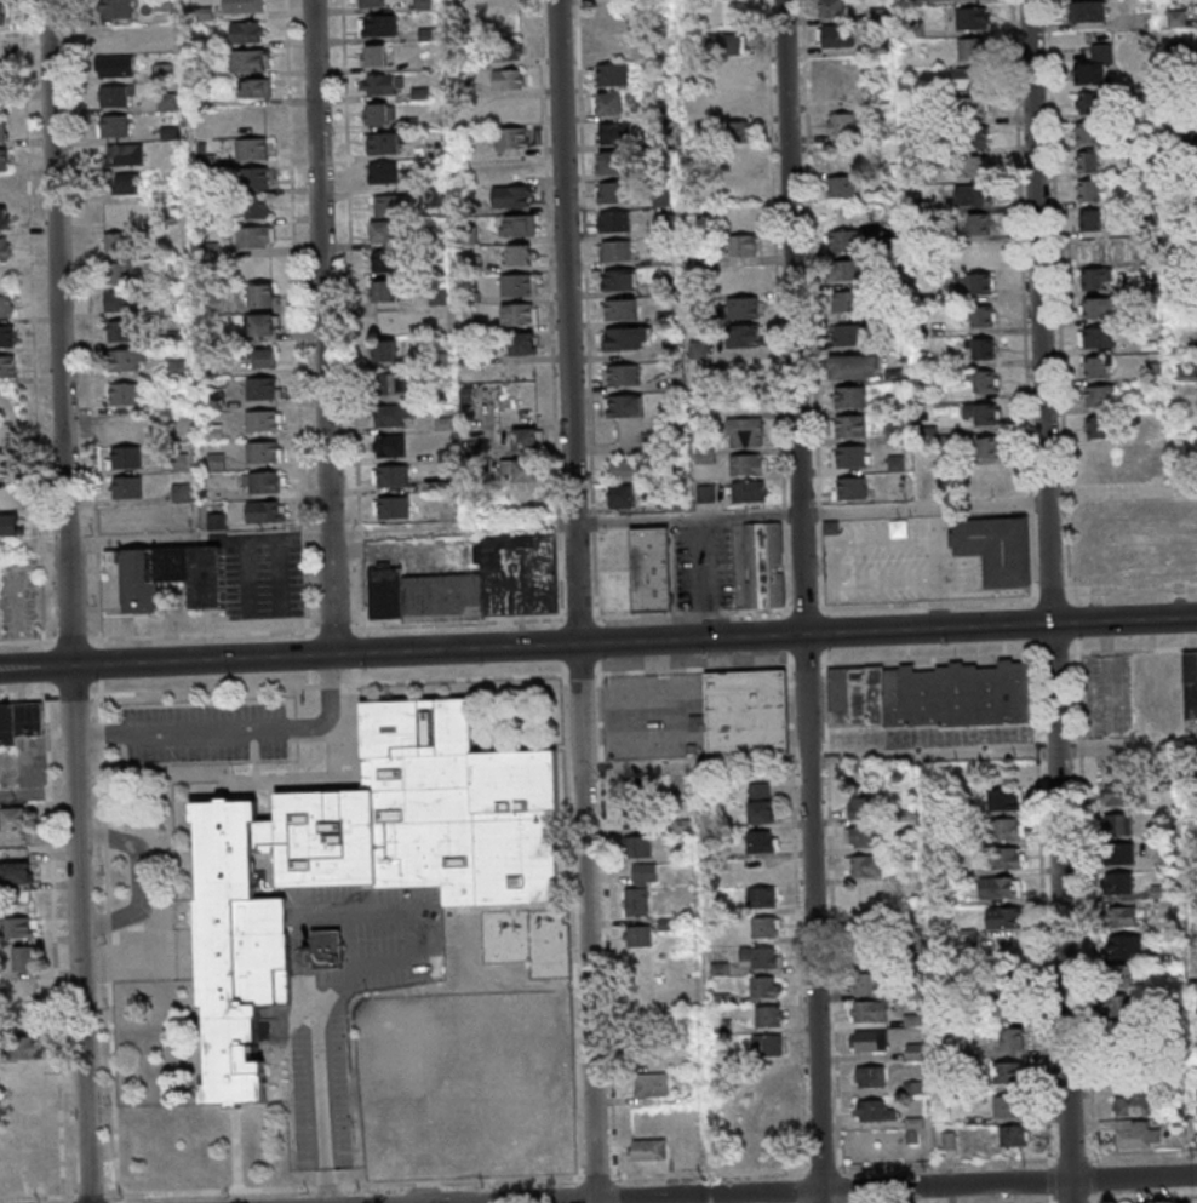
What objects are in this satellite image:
building: (373, 2)
building: (242, 6)
building: (115, 8)
building: (832, 8)
building: (1088, 11)
building: (1, 12)
building: (978, 19)
building: (1178, 19)
building: (378, 25)
building: (247, 31)
building: (162, 35)
building: (835, 35)
building: (732, 42)
building: (615, 47)
building: (979, 50)
building: (506, 51)
building: (376, 55)
building: (248, 59)
building: (115, 65)
building: (1095, 65)
building: (735, 71)
building: (2, 73)
building: (618, 76)
building: (509, 78)
building: (981, 79)
building: (384, 84)
building: (254, 87)
building: (116, 94)
building: (167, 101)
building: (735, 101)
building: (609, 103)
building: (1092, 103)
building: (974, 107)
building: (380, 113)
building: (254, 119)
building: (838, 122)
building: (114, 125)
building: (2, 130)
building: (743, 131)
building: (620, 133)
building: (973, 134)
building: (1092, 134)
building: (512, 137)
building: (384, 142)
building: (252, 148)
building: (122, 154)
building: (4, 159)
building: (611, 161)
building: (741, 161)
building: (1092, 164)
building: (973, 166)
building: (383, 172)
building: (256, 178)
building: (127, 182)
building: (841, 185)
building: (4, 188)
building: (1094, 193)
building: (618, 194)
building: (511, 195)
building: (978, 196)
building: (388, 205)
building: (253, 207)
building: (4, 218)
building: (619, 222)
building: (1095, 222)
building: (979, 223)
building: (517, 224)
building: (385, 231)
building: (256, 235)
building: (842, 240)
building: (115, 242)
building: (740, 245)
building: (5, 247)
building: (1090, 251)
building: (622, 252)
building: (521, 254)
building: (697, 254)
building: (385, 260)
building: (850, 269)
building: (120, 271)
building: (1096, 280)
building: (624, 281)
building: (973, 282)
building: (519, 285)
building: (383, 291)
building: (263, 294)
building: (116, 300)
building: (848, 300)
building: (6, 307)
building: (745, 307)
building: (1098, 310)
building: (625, 311)
building: (520, 313)
building: (983, 315)
building: (263, 322)
road: (330, 326)
building: (121, 331)
building: (849, 334)
building: (7, 336)
building: (746, 336)
building: (1098, 339)
building: (625, 340)
road: (33, 342)
building: (523, 343)
building: (983, 348)
building: (384, 349)
building: (699, 349)
road: (92, 350)
building: (267, 356)
building: (126, 359)
building: (7, 366)
building: (854, 366)
building: (1095, 368)
building: (629, 376)
building: (983, 380)
building: (393, 383)
building: (262, 388)
building: (125, 393)
building: (849, 396)
building: (213, 397)
building: (1101, 397)
building: (630, 407)
building: (394, 413)
building: (986, 413)
road: (303, 417)
building: (263, 420)
building: (121, 424)
building: (848, 426)
building: (1098, 429)
building: (745, 431)
road: (356, 432)
building: (526, 440)
building: (390, 443)
building: (987, 447)
building: (264, 451)
building: (850, 456)
building: (124, 457)
building: (4, 462)
building: (1098, 463)
building: (749, 464)
building: (624, 468)
building: (521, 469)
building: (391, 475)
building: (263, 481)
building: (987, 481)
building: (125, 487)
building: (850, 487)
building: (748, 491)
road: (1124, 492)
building: (623, 495)
building: (391, 506)
building: (265, 510)
road: (817, 510)
building: (217, 521)
building: (10, 525)
road: (327, 532)
building: (1185, 543)
building: (995, 549)
road: (947, 557)
road: (823, 563)
building: (763, 565)
building: (652, 569)
building: (167, 574)
building: (475, 583)
road: (75, 601)
road: (583, 601)
road: (802, 601)
road: (1056, 601)
road: (903, 602)
road: (947, 603)
building: (0, 617)
road: (636, 640)
road: (603, 646)
road: (39, 668)
building: (1191, 684)
road: (351, 687)
road: (78, 694)
building: (932, 694)
building: (746, 712)
building: (19, 721)
building: (697, 722)
road: (239, 729)
road: (1127, 747)
road: (932, 754)
road: (699, 766)
building: (1116, 795)
building: (1004, 800)
building: (760, 802)
building: (863, 806)
building: (637, 813)
building: (13, 818)
building: (1009, 829)
building: (861, 836)
building: (1118, 837)
building: (761, 840)
building: (637, 847)
building: (1008, 857)
building: (366, 858)
building: (863, 865)
building: (16, 871)
building: (1118, 882)
building: (1000, 887)
building: (640, 888)
building: (763, 896)
building: (1121, 916)
building: (1003, 917)
building: (18, 927)
building: (764, 927)
building: (637, 935)
building: (1126, 946)
building: (325, 950)
building: (23, 957)
building: (758, 957)
building: (1007, 974)
building: (1119, 975)
road: (342, 984)
building: (867, 984)
building: (764, 986)
building: (1121, 1008)
building: (869, 1010)
building: (1009, 1010)
building: (768, 1015)
building: (869, 1039)
building: (1013, 1039)
building: (768, 1044)
building: (27, 1047)
building: (1012, 1072)
building: (870, 1076)
building: (652, 1084)
building: (29, 1105)
building: (1135, 1105)
building: (1010, 1106)
building: (875, 1110)
building: (1135, 1134)
building: (1015, 1135)
building: (25, 1138)
building: (769, 1146)
building: (647, 1148)
road: (655, 1175)
building: (34, 1179)
road: (853, 1190)
road: (68, 1201)

